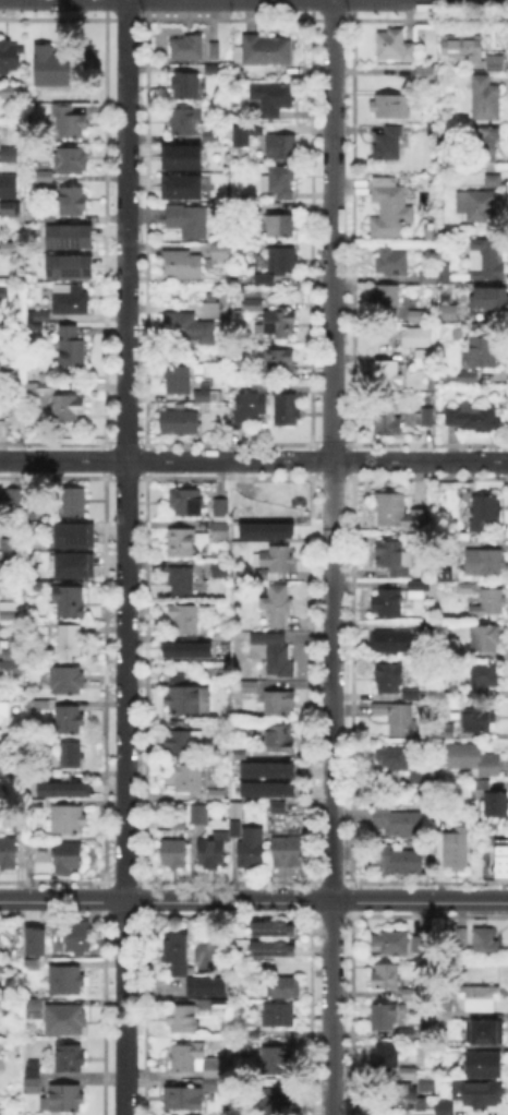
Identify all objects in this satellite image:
building: (395, 45)
building: (469, 48)
building: (188, 49)
building: (266, 51)
building: (216, 52)
building: (9, 56)
building: (496, 65)
building: (52, 67)
building: (214, 69)
building: (425, 75)
building: (186, 87)
building: (10, 91)
building: (486, 99)
building: (271, 101)
building: (390, 107)
building: (70, 122)
building: (183, 123)
building: (238, 134)
building: (211, 137)
building: (278, 144)
building: (484, 144)
building: (387, 145)
building: (9, 155)
building: (181, 155)
building: (69, 160)
building: (45, 177)
building: (489, 179)
building: (280, 182)
building: (8, 185)
building: (179, 185)
building: (72, 201)
building: (481, 205)
building: (8, 208)
building: (390, 209)
building: (252, 211)
building: (190, 221)
building: (282, 227)
building: (66, 235)
building: (220, 251)
building: (488, 260)
building: (392, 263)
building: (66, 265)
building: (183, 265)
building: (278, 266)
building: (426, 277)
building: (4, 295)
building: (71, 299)
building: (385, 299)
building: (255, 302)
building: (489, 302)
building: (449, 313)
building: (37, 314)
building: (418, 317)
building: (280, 321)
building: (194, 324)
building: (36, 325)
building: (72, 349)
building: (421, 349)
building: (483, 355)
building: (278, 360)
building: (385, 374)
building: (470, 379)
building: (179, 381)
building: (47, 389)
building: (206, 397)
building: (283, 406)
building: (66, 407)
building: (251, 407)
building: (3, 413)
building: (425, 416)
building: (474, 418)
building: (180, 423)
building: (384, 424)
road: (253, 461)
building: (16, 496)
building: (75, 503)
building: (188, 503)
building: (221, 507)
building: (242, 509)
building: (485, 511)
building: (398, 512)
building: (282, 513)
building: (220, 529)
building: (76, 531)
building: (181, 541)
building: (390, 553)
road: (331, 556)
road: (124, 557)
building: (9, 559)
building: (485, 562)
building: (273, 563)
building: (75, 564)
building: (219, 571)
building: (182, 583)
building: (36, 585)
building: (415, 589)
building: (467, 589)
building: (489, 602)
building: (70, 603)
building: (386, 604)
building: (8, 606)
building: (277, 606)
building: (0, 615)
building: (8, 615)
building: (185, 620)
building: (428, 626)
building: (220, 636)
building: (0, 639)
building: (485, 639)
building: (71, 640)
building: (391, 643)
building: (184, 648)
building: (274, 654)
building: (11, 669)
building: (484, 678)
building: (178, 679)
building: (389, 679)
building: (68, 681)
building: (250, 687)
building: (411, 694)
building: (190, 702)
building: (279, 704)
building: (39, 706)
building: (3, 711)
building: (398, 717)
building: (476, 720)
building: (69, 721)
building: (448, 732)
building: (280, 739)
building: (182, 744)
building: (71, 756)
building: (396, 758)
building: (473, 760)
building: (269, 768)
building: (48, 772)
building: (13, 775)
building: (188, 778)
building: (419, 778)
building: (68, 788)
building: (269, 789)
building: (392, 791)
building: (3, 792)
building: (217, 795)
building: (494, 802)
building: (38, 805)
building: (279, 806)
building: (237, 811)
building: (199, 814)
building: (69, 822)
building: (398, 823)
building: (235, 827)
building: (458, 848)
building: (252, 849)
building: (214, 851)
building: (287, 851)
building: (9, 852)
building: (173, 854)
building: (499, 855)
building: (69, 856)
building: (397, 860)
road: (253, 902)
building: (275, 931)
building: (80, 936)
building: (389, 938)
building: (33, 939)
building: (463, 939)
building: (486, 942)
building: (419, 943)
building: (274, 950)
building: (177, 955)
building: (29, 962)
building: (2, 966)
building: (387, 976)
building: (66, 983)
building: (207, 985)
building: (286, 988)
building: (411, 995)
building: (482, 998)
building: (34, 1008)
building: (447, 1010)
building: (278, 1016)
building: (383, 1018)
building: (65, 1019)
building: (182, 1020)
building: (251, 1033)
building: (485, 1034)
building: (407, 1035)
building: (241, 1050)
building: (387, 1056)
building: (70, 1058)
building: (188, 1058)
building: (276, 1060)
building: (484, 1065)
building: (217, 1075)
building: (408, 1076)
building: (35, 1078)
building: (428, 1086)
building: (482, 1095)
building: (407, 1096)
building: (65, 1100)
building: (181, 1100)
building: (276, 1102)
building: (0, 1110)
building: (445, 1110)

